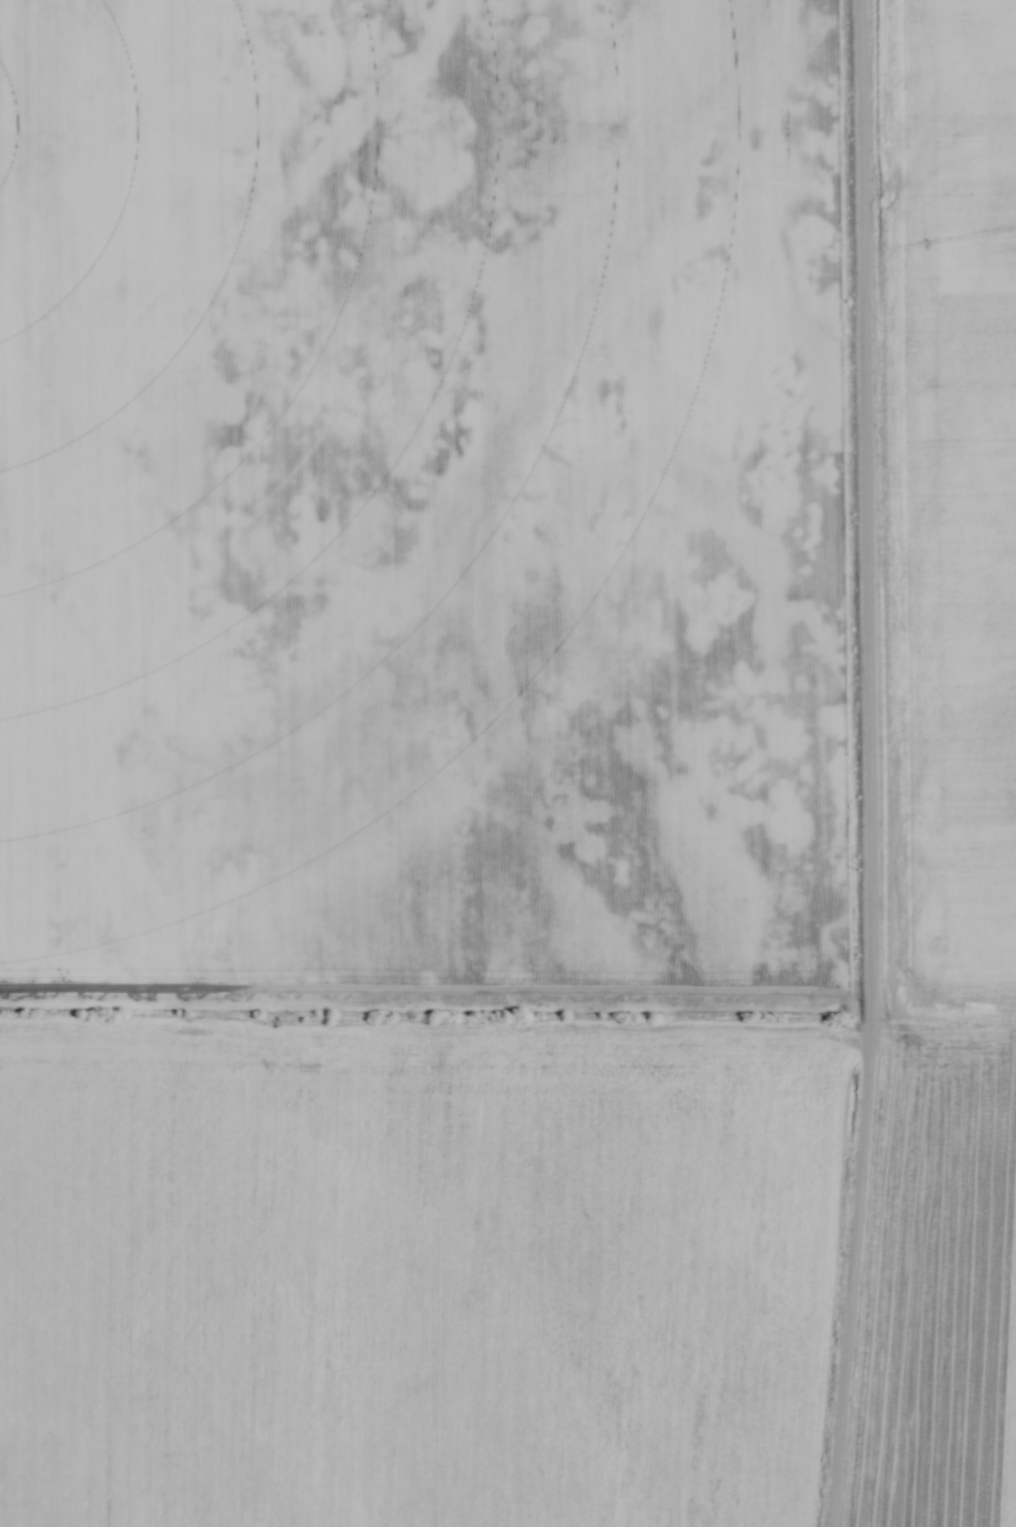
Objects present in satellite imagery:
road: (869, 764)

